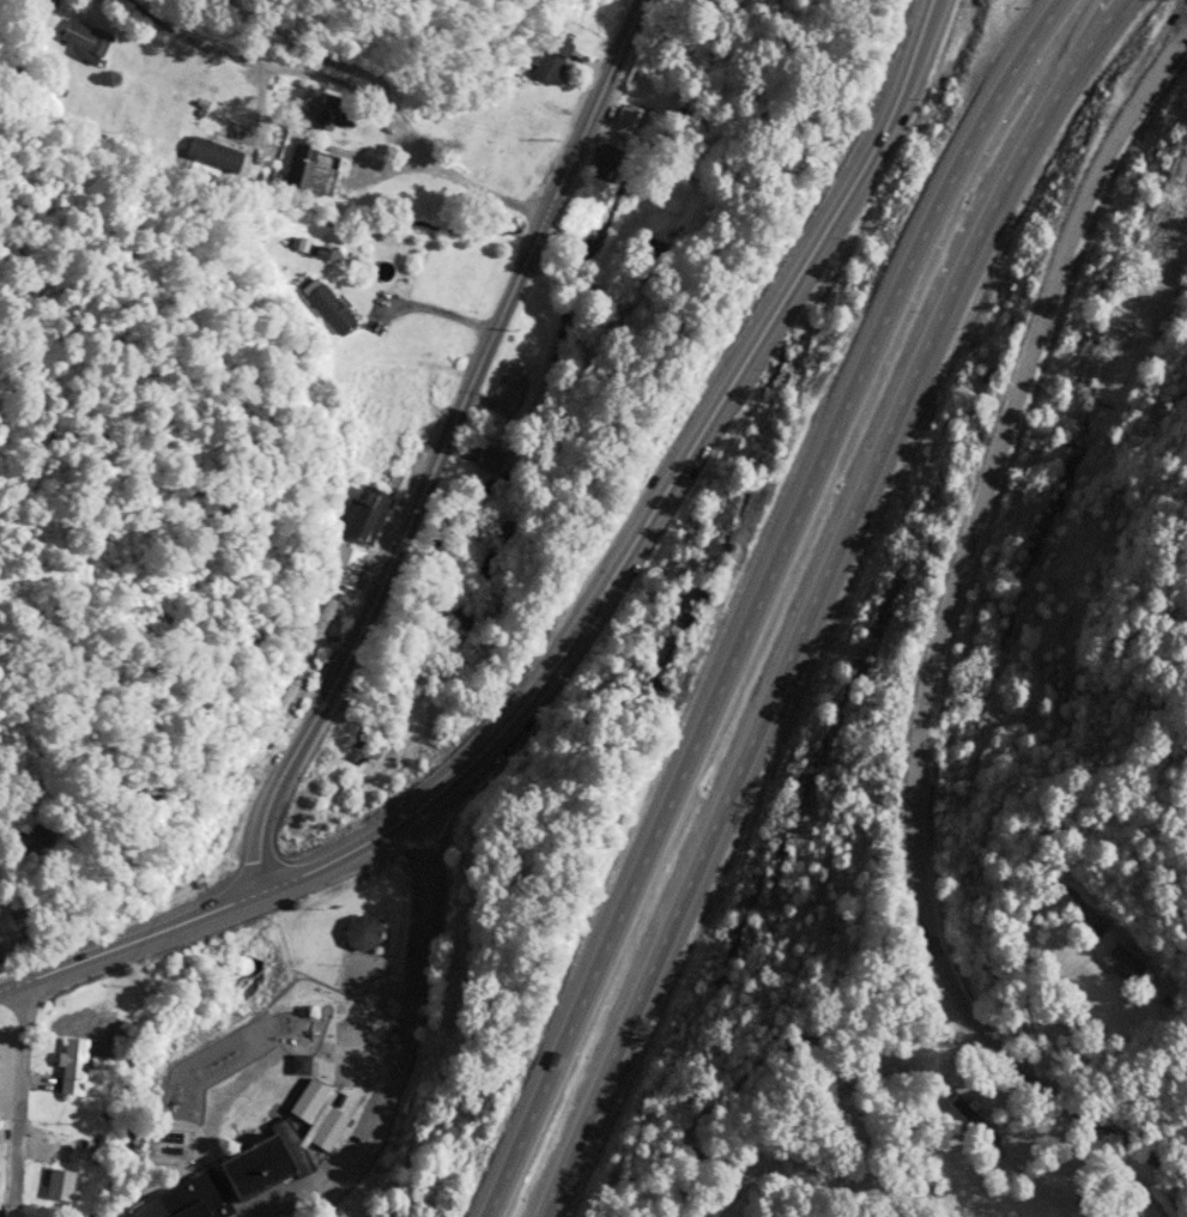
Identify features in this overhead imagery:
building: (83, 42)
building: (552, 61)
road: (344, 85)
building: (338, 114)
building: (630, 125)
building: (213, 156)
building: (604, 163)
building: (507, 168)
building: (310, 172)
building: (650, 258)
park: (449, 270)
road: (567, 284)
building: (329, 309)
building: (502, 406)
road: (441, 446)
building: (487, 461)
road: (656, 498)
building: (362, 516)
building: (343, 568)
road: (819, 599)
road: (758, 601)
building: (454, 617)
building: (321, 620)
road: (934, 650)
building: (362, 933)
road: (131, 943)
road: (1026, 952)
building: (1121, 964)
road: (398, 1041)
building: (72, 1067)
road: (14, 1102)
building: (970, 1120)
building: (252, 1164)
building: (59, 1185)

